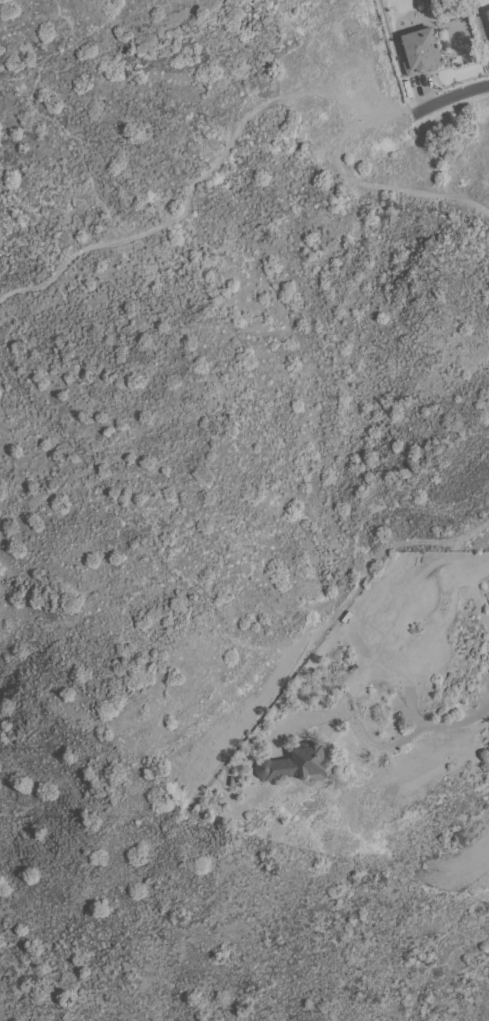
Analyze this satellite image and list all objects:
building: (488, 12)
park: (198, 26)
building: (444, 42)
building: (421, 51)
park: (25, 81)
road: (454, 95)
park: (146, 661)
road: (346, 714)
road: (457, 721)
building: (294, 763)
building: (230, 779)
park: (223, 929)

